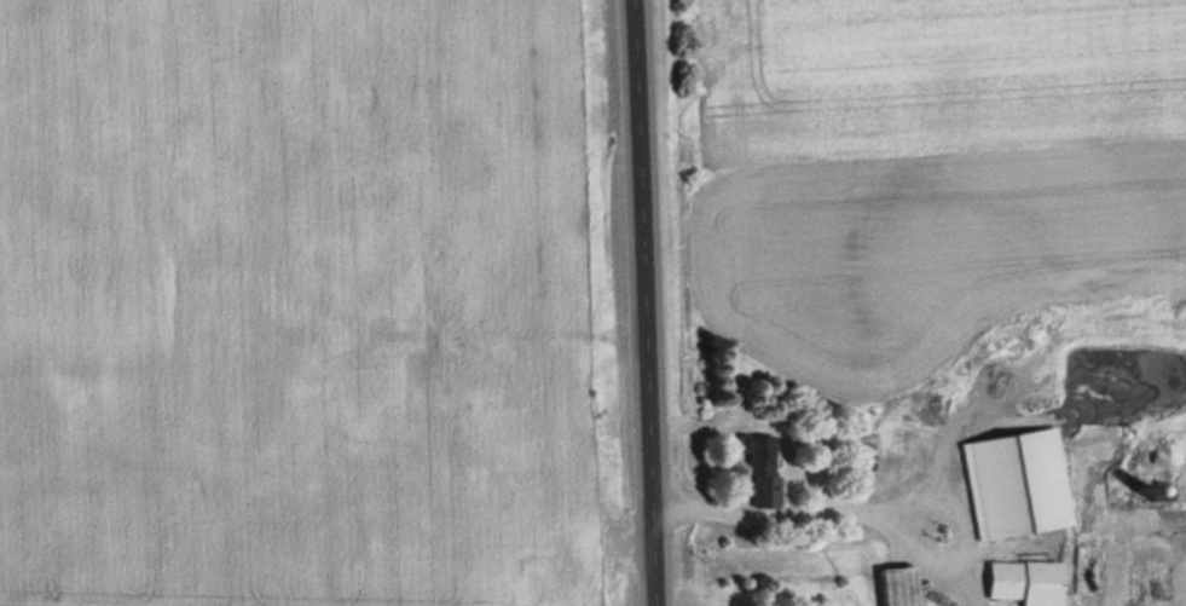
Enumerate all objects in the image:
road: (642, 302)
building: (866, 457)
building: (763, 467)
building: (1162, 473)
building: (1022, 484)
building: (1101, 492)
building: (1028, 582)
building: (902, 585)

